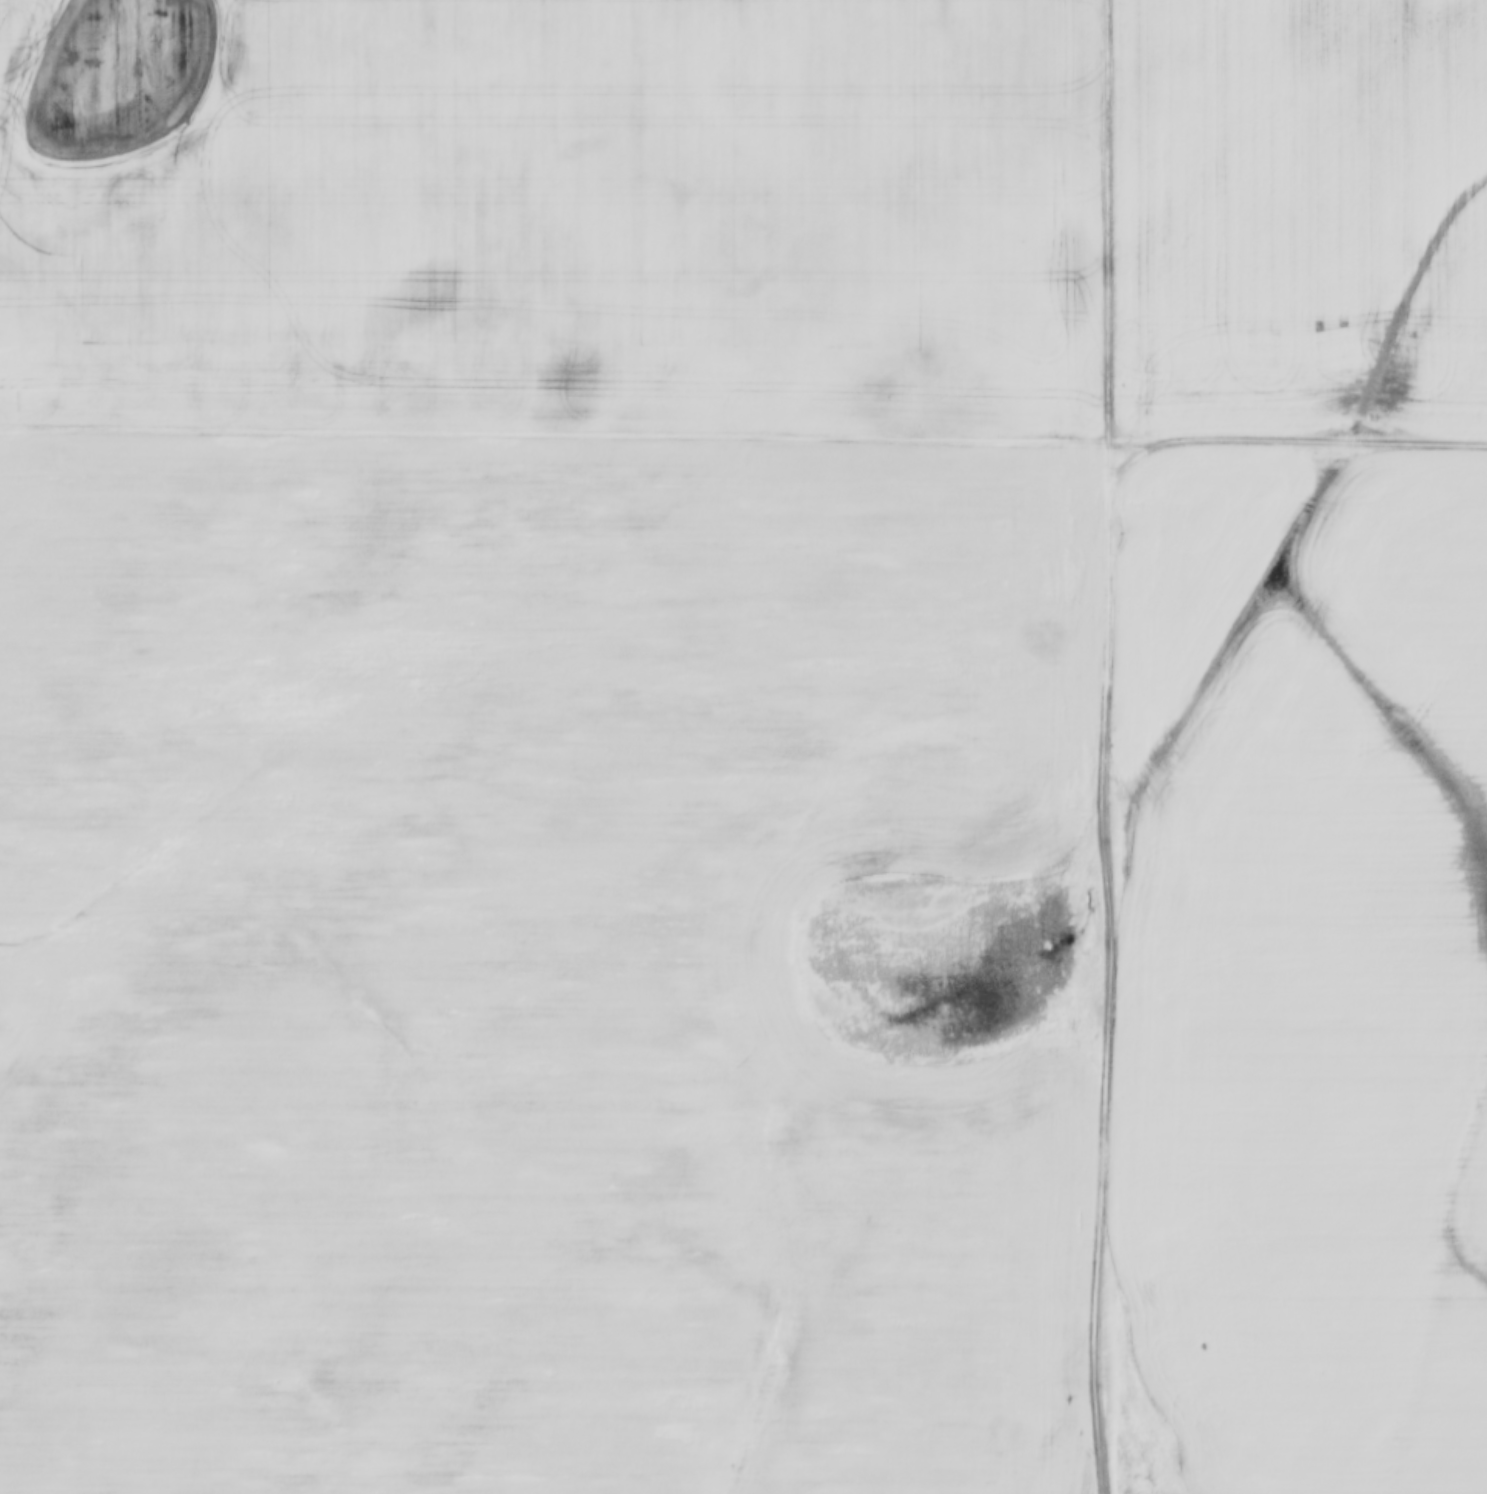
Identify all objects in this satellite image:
road: (747, 430)
road: (1110, 746)

